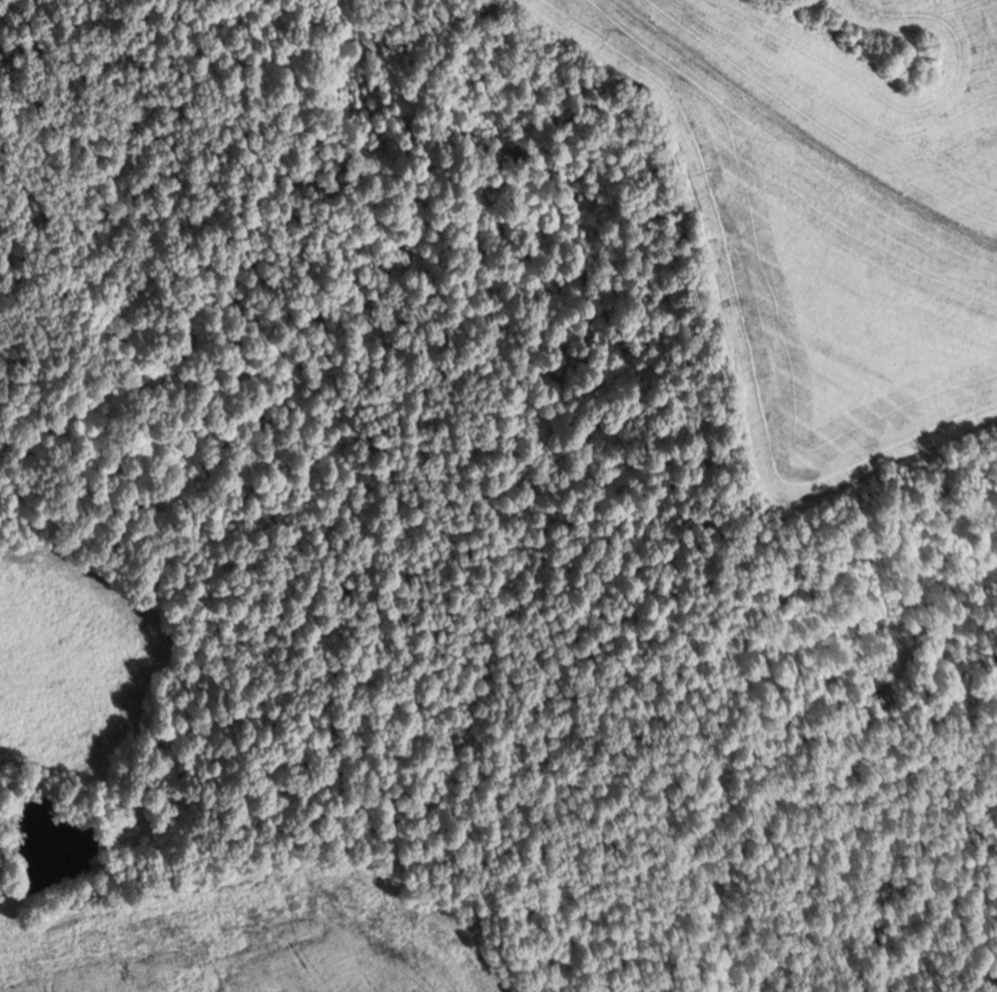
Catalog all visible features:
road: (802, 132)

